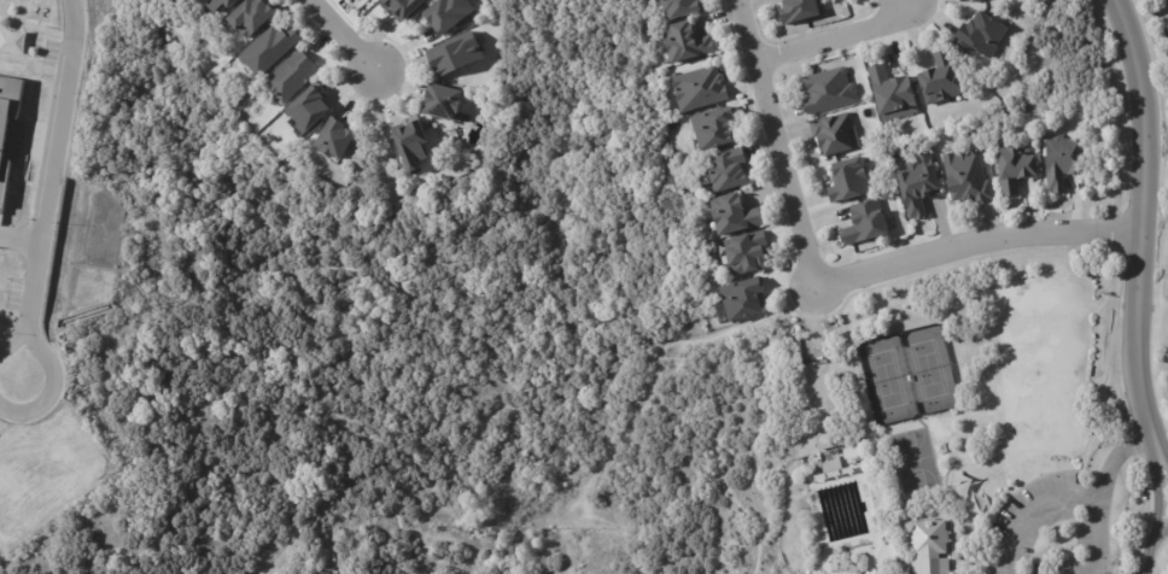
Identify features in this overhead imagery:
building: (973, 0)
building: (1167, 1)
building: (180, 2)
building: (221, 4)
building: (404, 7)
building: (684, 8)
building: (802, 11)
building: (450, 14)
building: (253, 18)
building: (981, 36)
road: (836, 37)
road: (341, 39)
building: (685, 41)
building: (12, 45)
building: (271, 49)
building: (460, 54)
building: (296, 76)
building: (940, 80)
building: (701, 88)
building: (830, 92)
building: (894, 94)
building: (448, 104)
building: (311, 110)
building: (8, 125)
building: (719, 129)
building: (840, 135)
building: (337, 140)
building: (415, 143)
building: (1065, 162)
road: (51, 164)
building: (1020, 166)
building: (732, 171)
building: (971, 177)
building: (852, 181)
building: (922, 186)
building: (738, 215)
road: (1138, 221)
building: (869, 224)
building: (752, 253)
road: (830, 283)
road: (1164, 283)
building: (747, 299)
park: (928, 369)
road: (51, 370)
park: (886, 379)
park: (950, 428)
road: (1161, 453)
road: (1115, 457)
park: (913, 458)
building: (831, 464)
road: (1158, 492)
road: (1032, 512)
parking lot: (1047, 531)
road: (1098, 539)
building: (928, 545)
road: (1150, 547)
building: (320, 572)

